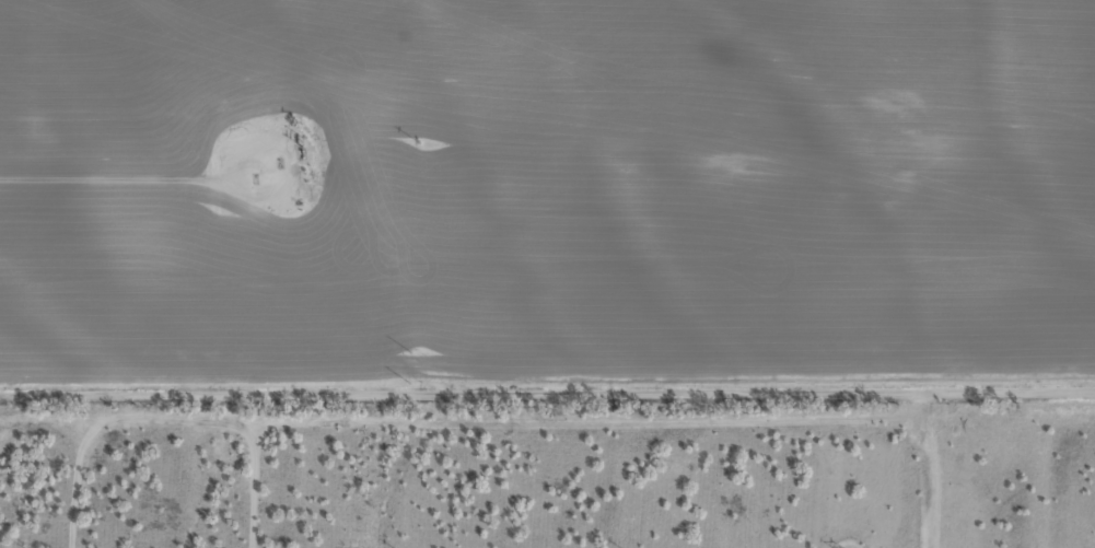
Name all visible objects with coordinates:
road: (631, 187)
road: (547, 372)
road: (233, 459)

